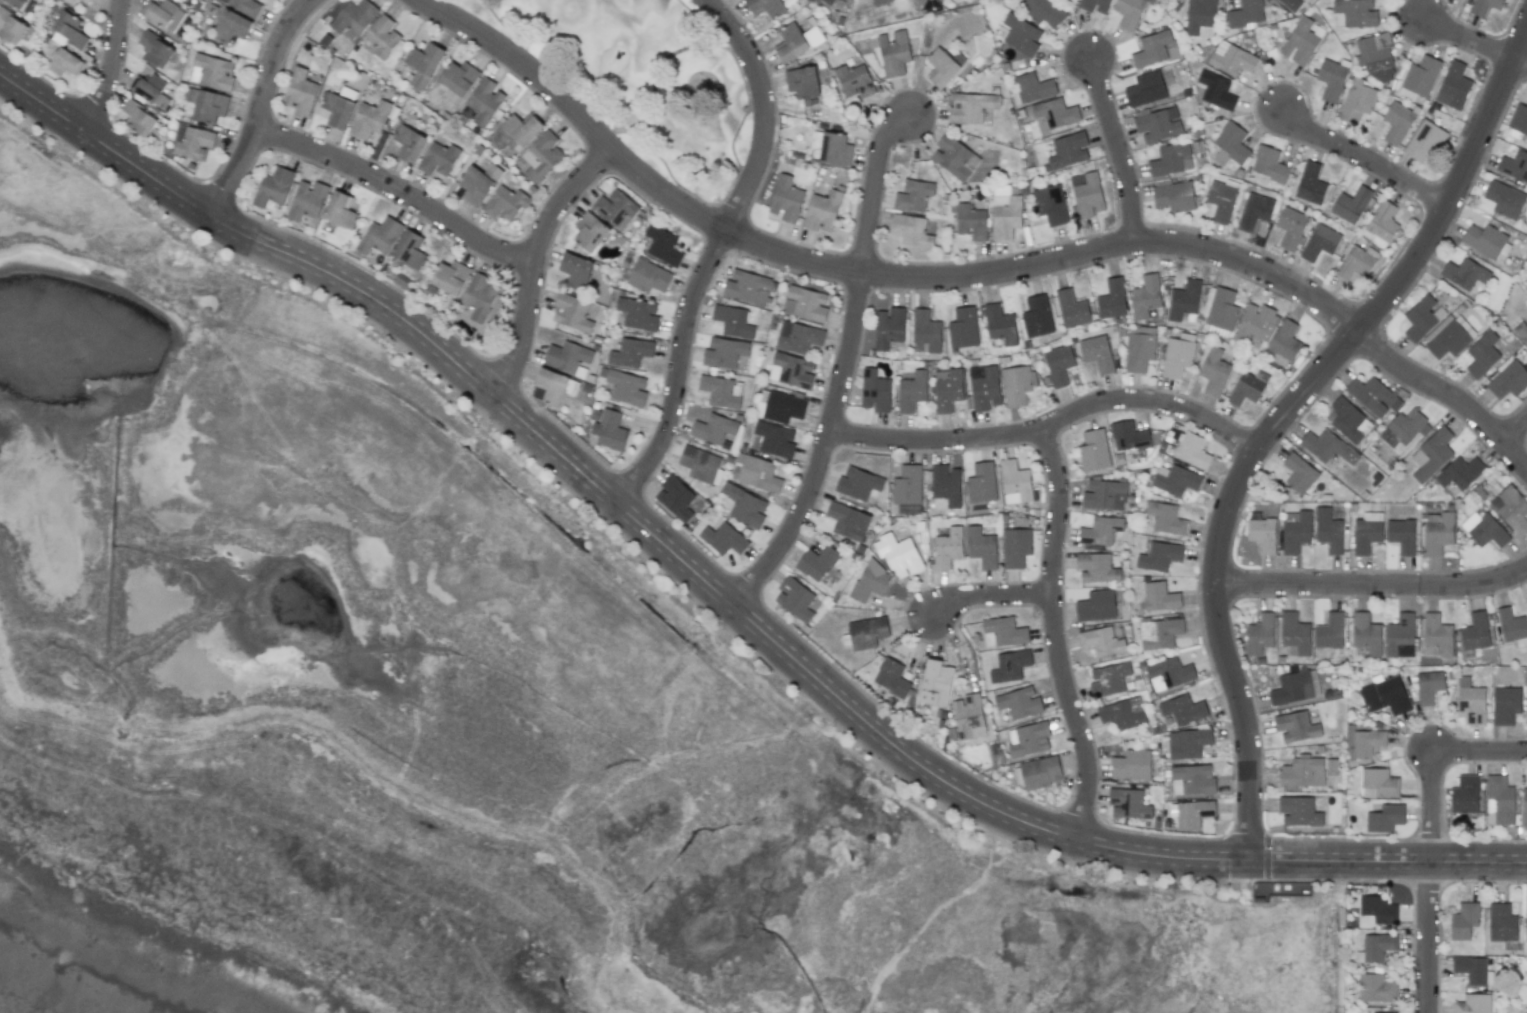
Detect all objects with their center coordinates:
building: (69, 1)
building: (86, 1)
building: (193, 1)
building: (828, 2)
building: (881, 2)
building: (17, 3)
building: (1291, 4)
building: (1095, 5)
building: (246, 6)
building: (1485, 6)
building: (765, 7)
building: (334, 9)
building: (1044, 11)
building: (1129, 12)
building: (1354, 13)
building: (163, 14)
building: (1245, 14)
building: (354, 17)
building: (1200, 18)
building: (231, 26)
building: (11, 28)
building: (69, 29)
building: (1021, 35)
building: (382, 36)
road: (1470, 36)
building: (1300, 43)
building: (1151, 49)
building: (155, 50)
building: (894, 53)
building: (1375, 56)
building: (1231, 58)
road: (1520, 60)
building: (65, 63)
building: (423, 64)
road: (114, 68)
building: (941, 68)
building: (212, 72)
building: (1421, 75)
building: (458, 78)
park: (646, 80)
building: (1331, 80)
building: (854, 81)
building: (802, 82)
building: (1453, 86)
building: (1032, 87)
building: (1145, 89)
building: (1216, 90)
building: (150, 91)
building: (299, 91)
building: (347, 93)
road: (1249, 99)
building: (484, 101)
building: (1357, 101)
building: (210, 106)
road: (262, 106)
building: (971, 107)
road: (763, 109)
building: (337, 110)
building: (1054, 114)
building: (139, 119)
building: (368, 119)
building: (1519, 119)
building: (1397, 122)
building: (1158, 124)
building: (521, 130)
building: (1424, 140)
building: (194, 143)
road: (107, 144)
building: (409, 144)
building: (1230, 145)
road: (1119, 148)
building: (834, 149)
building: (1068, 150)
building: (542, 156)
building: (954, 158)
building: (438, 159)
building: (1268, 166)
building: (1514, 166)
building: (1159, 177)
building: (478, 183)
building: (1310, 183)
road: (874, 185)
building: (273, 187)
road: (399, 188)
building: (1087, 194)
building: (913, 196)
building: (786, 199)
building: (1221, 199)
building: (307, 200)
building: (1504, 200)
building: (505, 203)
building: (1050, 205)
building: (1351, 205)
building: (614, 208)
building: (340, 210)
building: (822, 211)
building: (1254, 211)
building: (1004, 213)
building: (970, 221)
building: (1381, 225)
building: (1290, 227)
building: (911, 231)
building: (589, 232)
building: (379, 236)
building: (1486, 241)
building: (1320, 242)
building: (662, 245)
building: (409, 249)
building: (1357, 262)
road: (535, 263)
building: (575, 271)
road: (970, 274)
building: (1464, 274)
building: (648, 276)
building: (450, 277)
building: (746, 287)
building: (478, 296)
building: (1145, 296)
building: (1112, 299)
building: (1183, 300)
building: (805, 303)
building: (1071, 309)
building: (1220, 309)
building: (571, 313)
building: (638, 314)
building: (1037, 316)
building: (1422, 318)
building: (733, 321)
building: (1000, 324)
building: (1256, 324)
building: (889, 328)
building: (963, 328)
building: (926, 331)
building: (1521, 331)
building: (798, 337)
building: (1284, 340)
building: (1448, 340)
building: (1139, 348)
building: (631, 352)
building: (724, 352)
building: (1097, 353)
building: (1482, 354)
building: (568, 357)
building: (1176, 357)
building: (1058, 365)
road: (679, 367)
building: (791, 370)
building: (1214, 371)
building: (1508, 380)
building: (1016, 385)
building: (551, 386)
building: (626, 387)
building: (984, 387)
building: (1247, 387)
building: (947, 389)
building: (721, 391)
building: (875, 391)
building: (912, 391)
building: (1373, 396)
road: (1283, 415)
building: (1349, 421)
road: (1050, 426)
building: (1407, 427)
road: (1515, 428)
building: (713, 429)
building: (609, 430)
building: (775, 439)
building: (1130, 439)
road: (824, 447)
building: (1327, 447)
building: (1094, 450)
building: (1192, 450)
building: (1431, 455)
building: (700, 464)
building: (1459, 472)
building: (757, 473)
building: (1298, 473)
building: (1175, 480)
building: (1014, 482)
building: (858, 483)
building: (981, 483)
building: (907, 485)
building: (945, 487)
building: (1104, 495)
building: (675, 498)
building: (745, 506)
building: (1511, 509)
building: (1165, 518)
building: (848, 521)
building: (1484, 529)
building: (1100, 530)
building: (1328, 530)
building: (1295, 531)
building: (1366, 532)
building: (1437, 532)
building: (1261, 533)
building: (1401, 535)
building: (723, 539)
building: (982, 547)
building: (1015, 547)
building: (947, 548)
building: (901, 552)
building: (1159, 556)
building: (816, 562)
building: (1096, 568)
building: (870, 581)
road: (1374, 583)
road: (991, 594)
building: (1159, 596)
building: (795, 599)
building: (1096, 606)
building: (1512, 627)
building: (1004, 631)
building: (1329, 632)
building: (867, 633)
building: (1295, 633)
building: (1259, 634)
building: (1366, 634)
building: (1474, 634)
road: (1056, 635)
building: (1436, 636)
building: (1399, 637)
building: (1101, 641)
building: (1009, 666)
building: (1169, 674)
road: (817, 677)
building: (891, 677)
building: (1108, 679)
building: (935, 683)
building: (1295, 687)
building: (1428, 687)
building: (1385, 696)
building: (1470, 702)
building: (1019, 703)
building: (1505, 705)
building: (1183, 709)
building: (1123, 713)
building: (968, 716)
building: (1295, 726)
building: (1030, 739)
building: (1363, 742)
building: (1187, 743)
road: (1434, 760)
building: (1131, 765)
building: (1331, 767)
building: (1040, 772)
building: (1302, 772)
building: (1192, 780)
building: (1378, 783)
building: (1465, 794)
building: (1524, 803)
building: (1128, 804)
building: (1298, 811)
building: (1192, 814)
building: (1385, 818)
building: (1378, 909)
building: (1464, 920)
building: (1501, 923)
building: (1525, 927)
road: (1430, 937)
building: (1376, 947)
building: (1472, 970)
building: (1377, 988)
building: (1472, 1004)
building: (1388, 1012)

